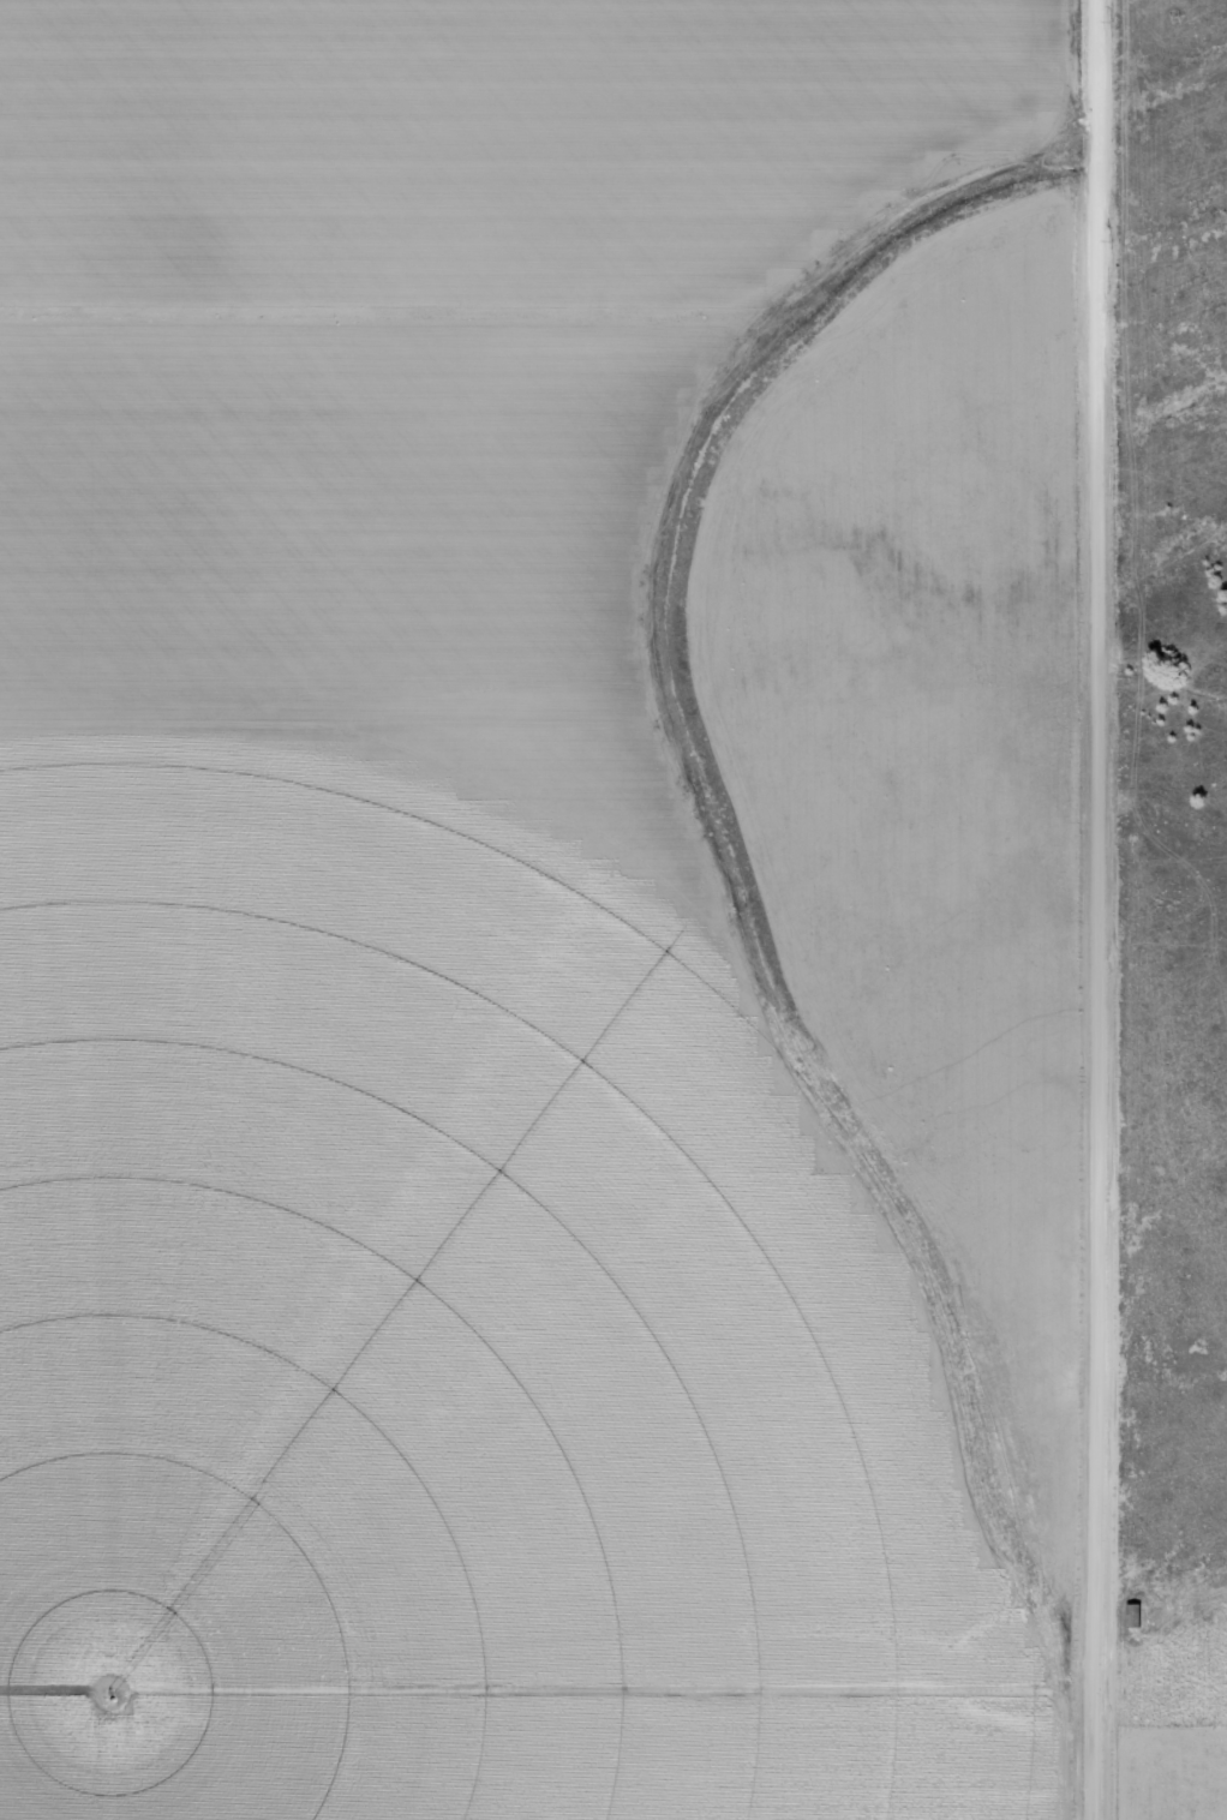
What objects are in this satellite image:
road: (1095, 910)

